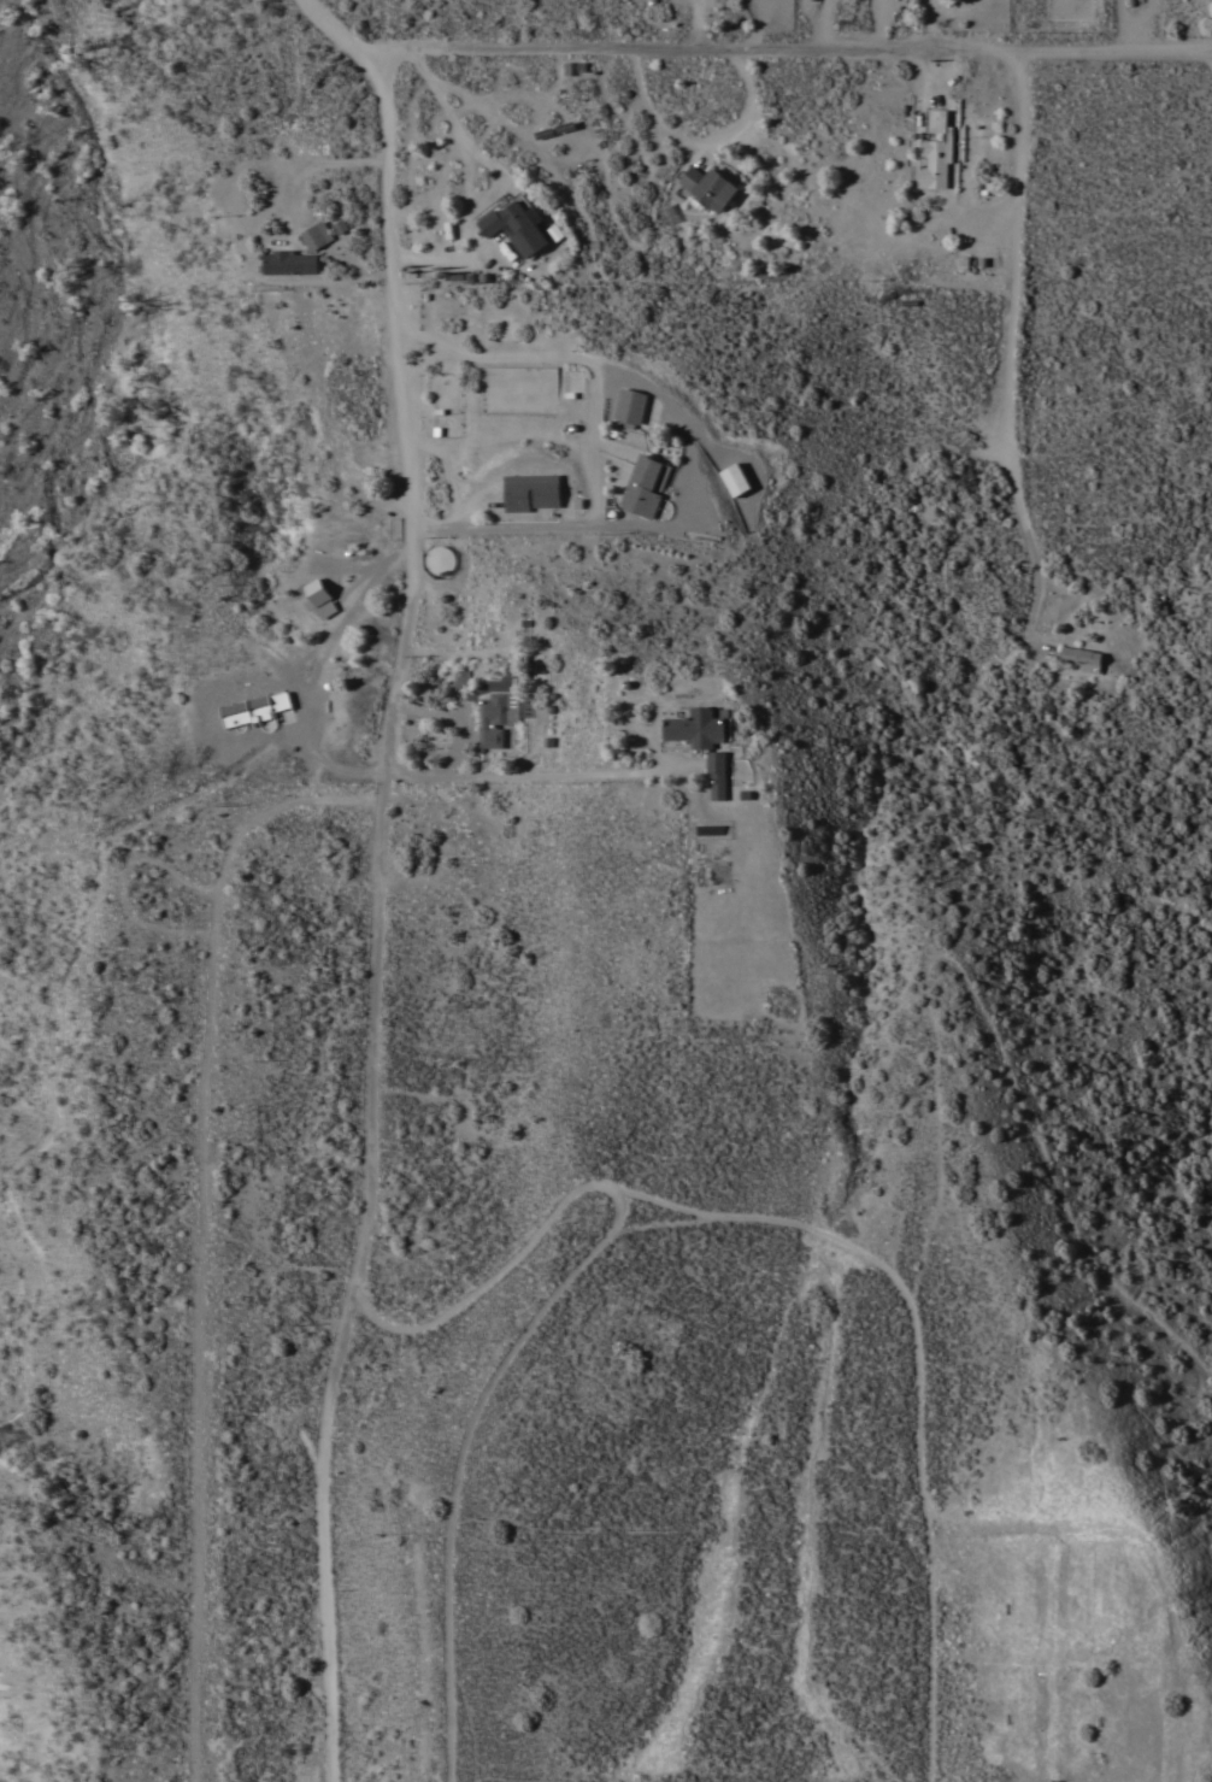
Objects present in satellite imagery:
road: (882, 24)
road: (825, 25)
road: (931, 25)
road: (694, 27)
road: (335, 34)
road: (792, 52)
road: (1211, 54)
road: (699, 141)
building: (936, 151)
road: (465, 181)
building: (708, 187)
building: (516, 227)
building: (316, 229)
road: (240, 234)
building: (287, 255)
road: (422, 336)
road: (565, 357)
road: (1011, 357)
road: (423, 361)
building: (629, 407)
road: (534, 439)
building: (735, 478)
building: (645, 486)
building: (546, 498)
road: (654, 530)
building: (440, 559)
building: (319, 599)
building: (1081, 658)
road: (313, 670)
building: (460, 678)
building: (525, 704)
building: (254, 708)
road: (458, 716)
building: (495, 716)
building: (695, 728)
road: (534, 774)
building: (716, 774)
road: (529, 845)
road: (380, 919)
road: (199, 1222)
road: (541, 1312)
road: (919, 1377)
road: (560, 1430)
road: (410, 1488)
road: (947, 1540)
road: (1136, 1540)
road: (257, 1552)

